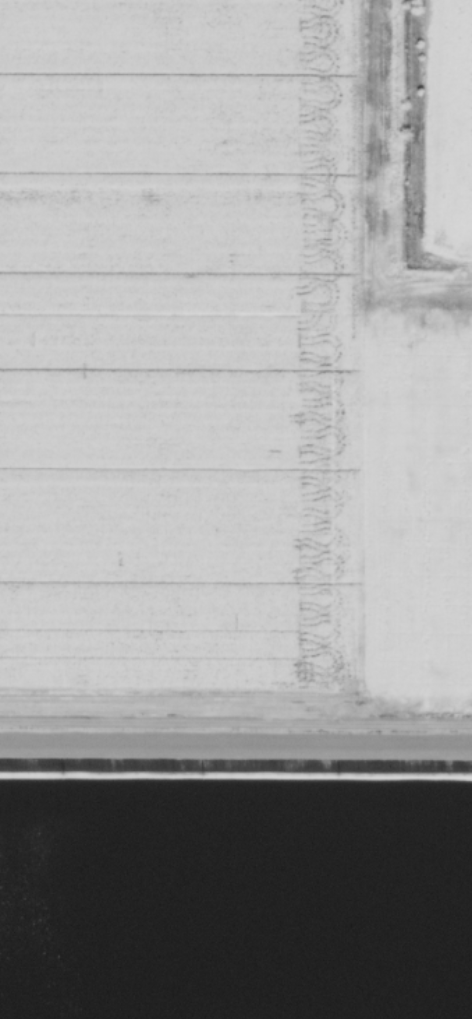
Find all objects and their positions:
road: (236, 722)
road: (236, 740)
crop: (236, 865)

